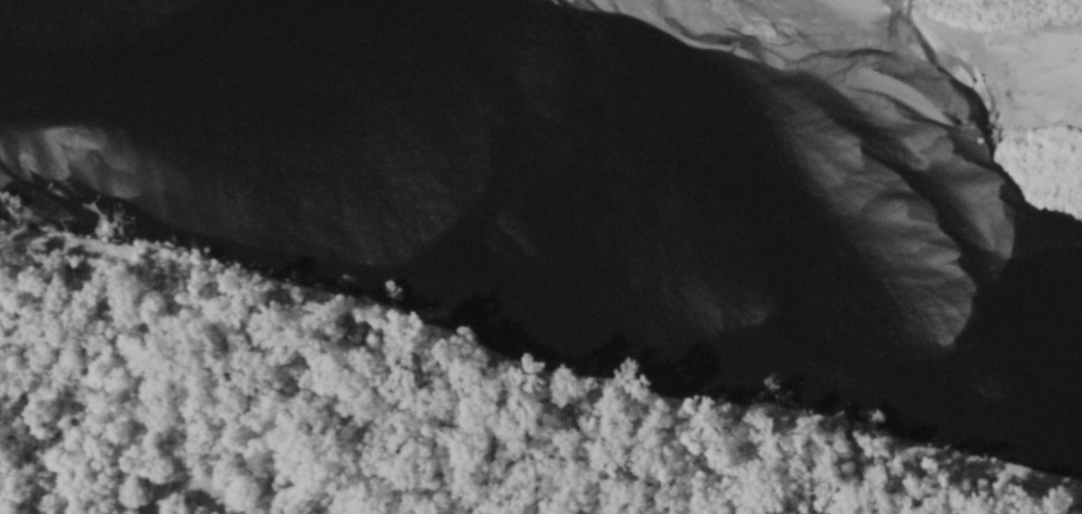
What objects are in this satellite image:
river: (697, 91)

